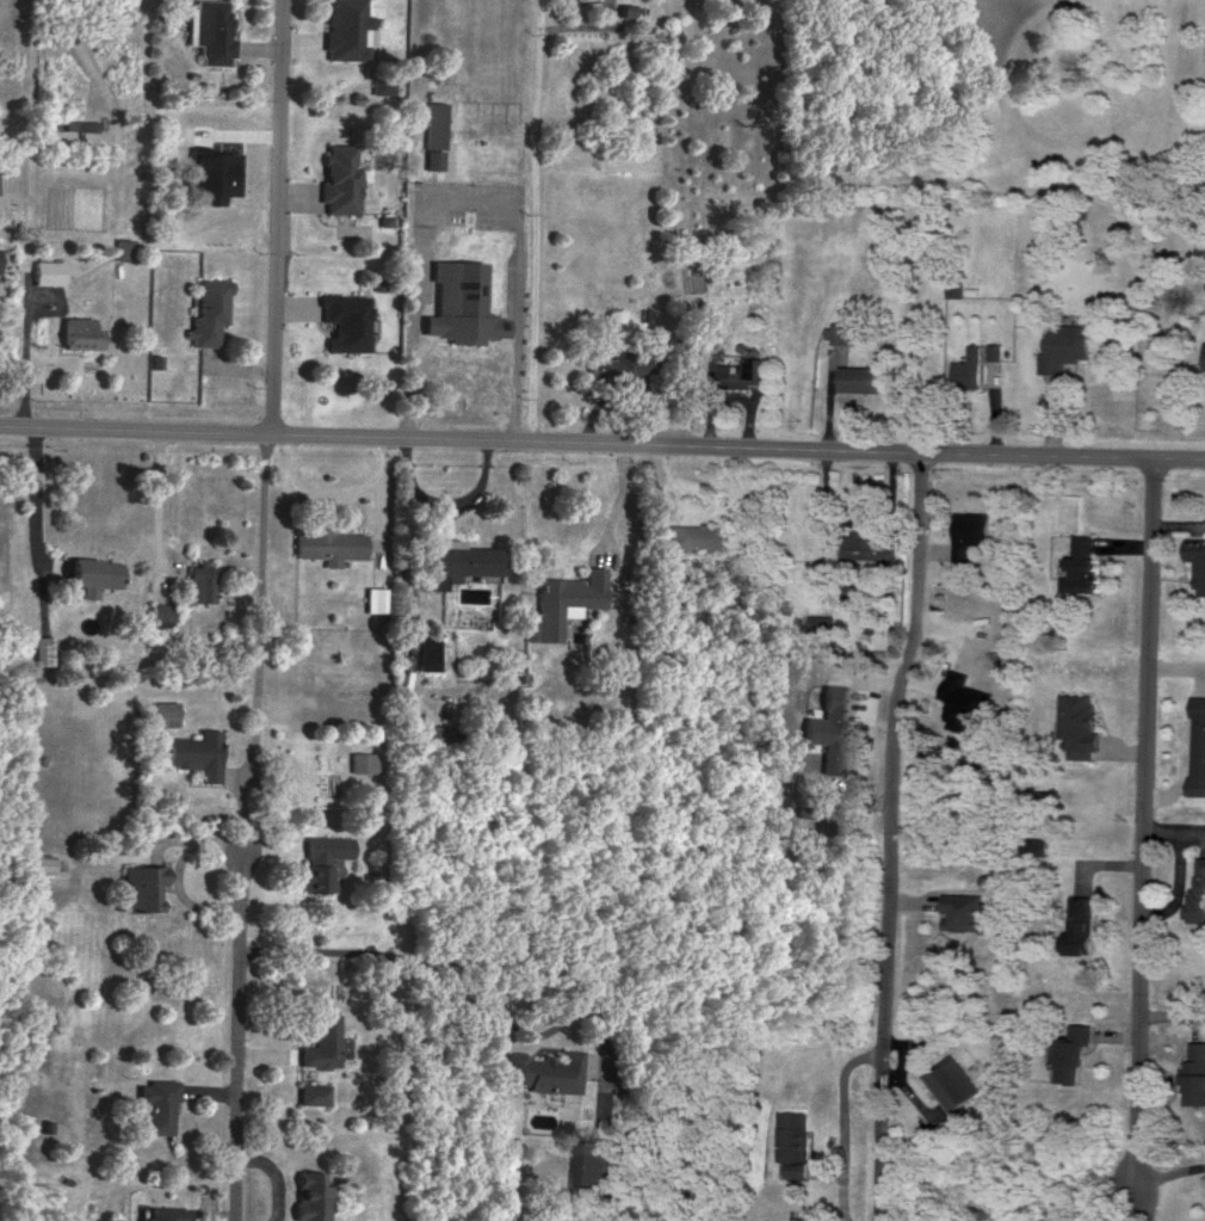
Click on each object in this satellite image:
building: (348, 29)
building: (215, 32)
building: (383, 84)
building: (434, 134)
building: (215, 175)
building: (341, 178)
road: (469, 198)
road: (278, 217)
road: (534, 220)
building: (124, 247)
building: (0, 258)
building: (50, 271)
building: (956, 286)
building: (463, 302)
building: (211, 310)
building: (348, 320)
building: (82, 332)
building: (842, 332)
building: (1067, 345)
building: (996, 350)
building: (620, 365)
building: (971, 368)
building: (746, 370)
building: (863, 377)
road: (602, 442)
road: (33, 497)
road: (620, 502)
road: (1179, 524)
building: (972, 532)
building: (698, 535)
building: (332, 544)
building: (867, 545)
building: (458, 560)
building: (1199, 563)
building: (1086, 565)
building: (888, 569)
building: (94, 573)
building: (203, 581)
building: (849, 594)
building: (376, 598)
building: (568, 599)
building: (162, 613)
building: (824, 624)
building: (531, 625)
building: (42, 649)
building: (428, 650)
building: (969, 702)
building: (166, 713)
building: (1082, 726)
building: (832, 728)
building: (437, 734)
building: (1199, 746)
building: (197, 753)
building: (363, 760)
road: (246, 826)
road: (891, 834)
building: (1039, 845)
road: (1147, 850)
building: (322, 858)
building: (142, 886)
building: (1199, 888)
building: (965, 911)
building: (1083, 924)
road: (496, 1011)
building: (322, 1041)
building: (1075, 1053)
building: (545, 1071)
building: (1195, 1073)
building: (957, 1081)
building: (314, 1093)
building: (157, 1103)
building: (797, 1141)
building: (593, 1164)
building: (309, 1194)
building: (166, 1213)

